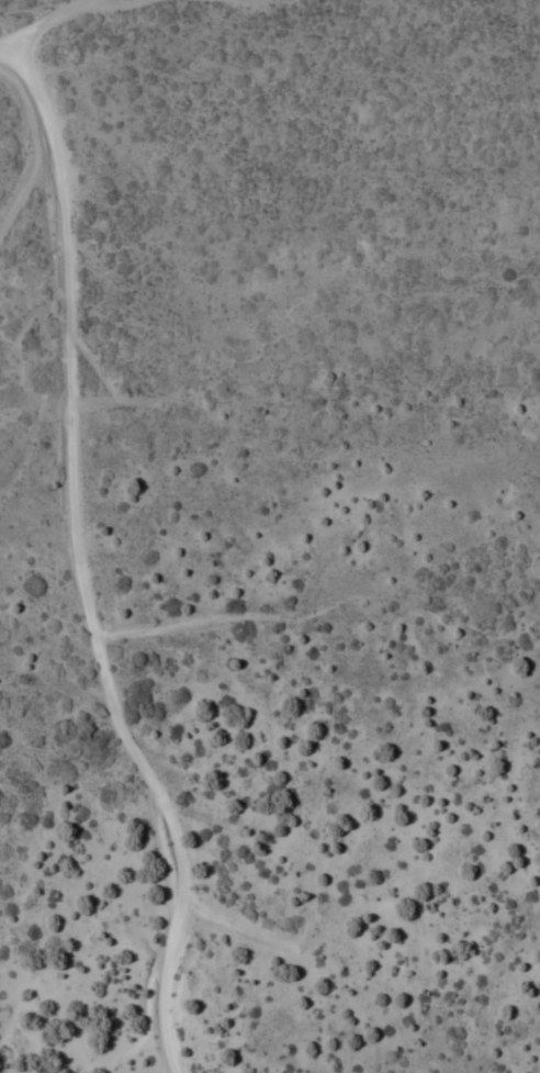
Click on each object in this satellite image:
road: (43, 22)
road: (81, 562)

